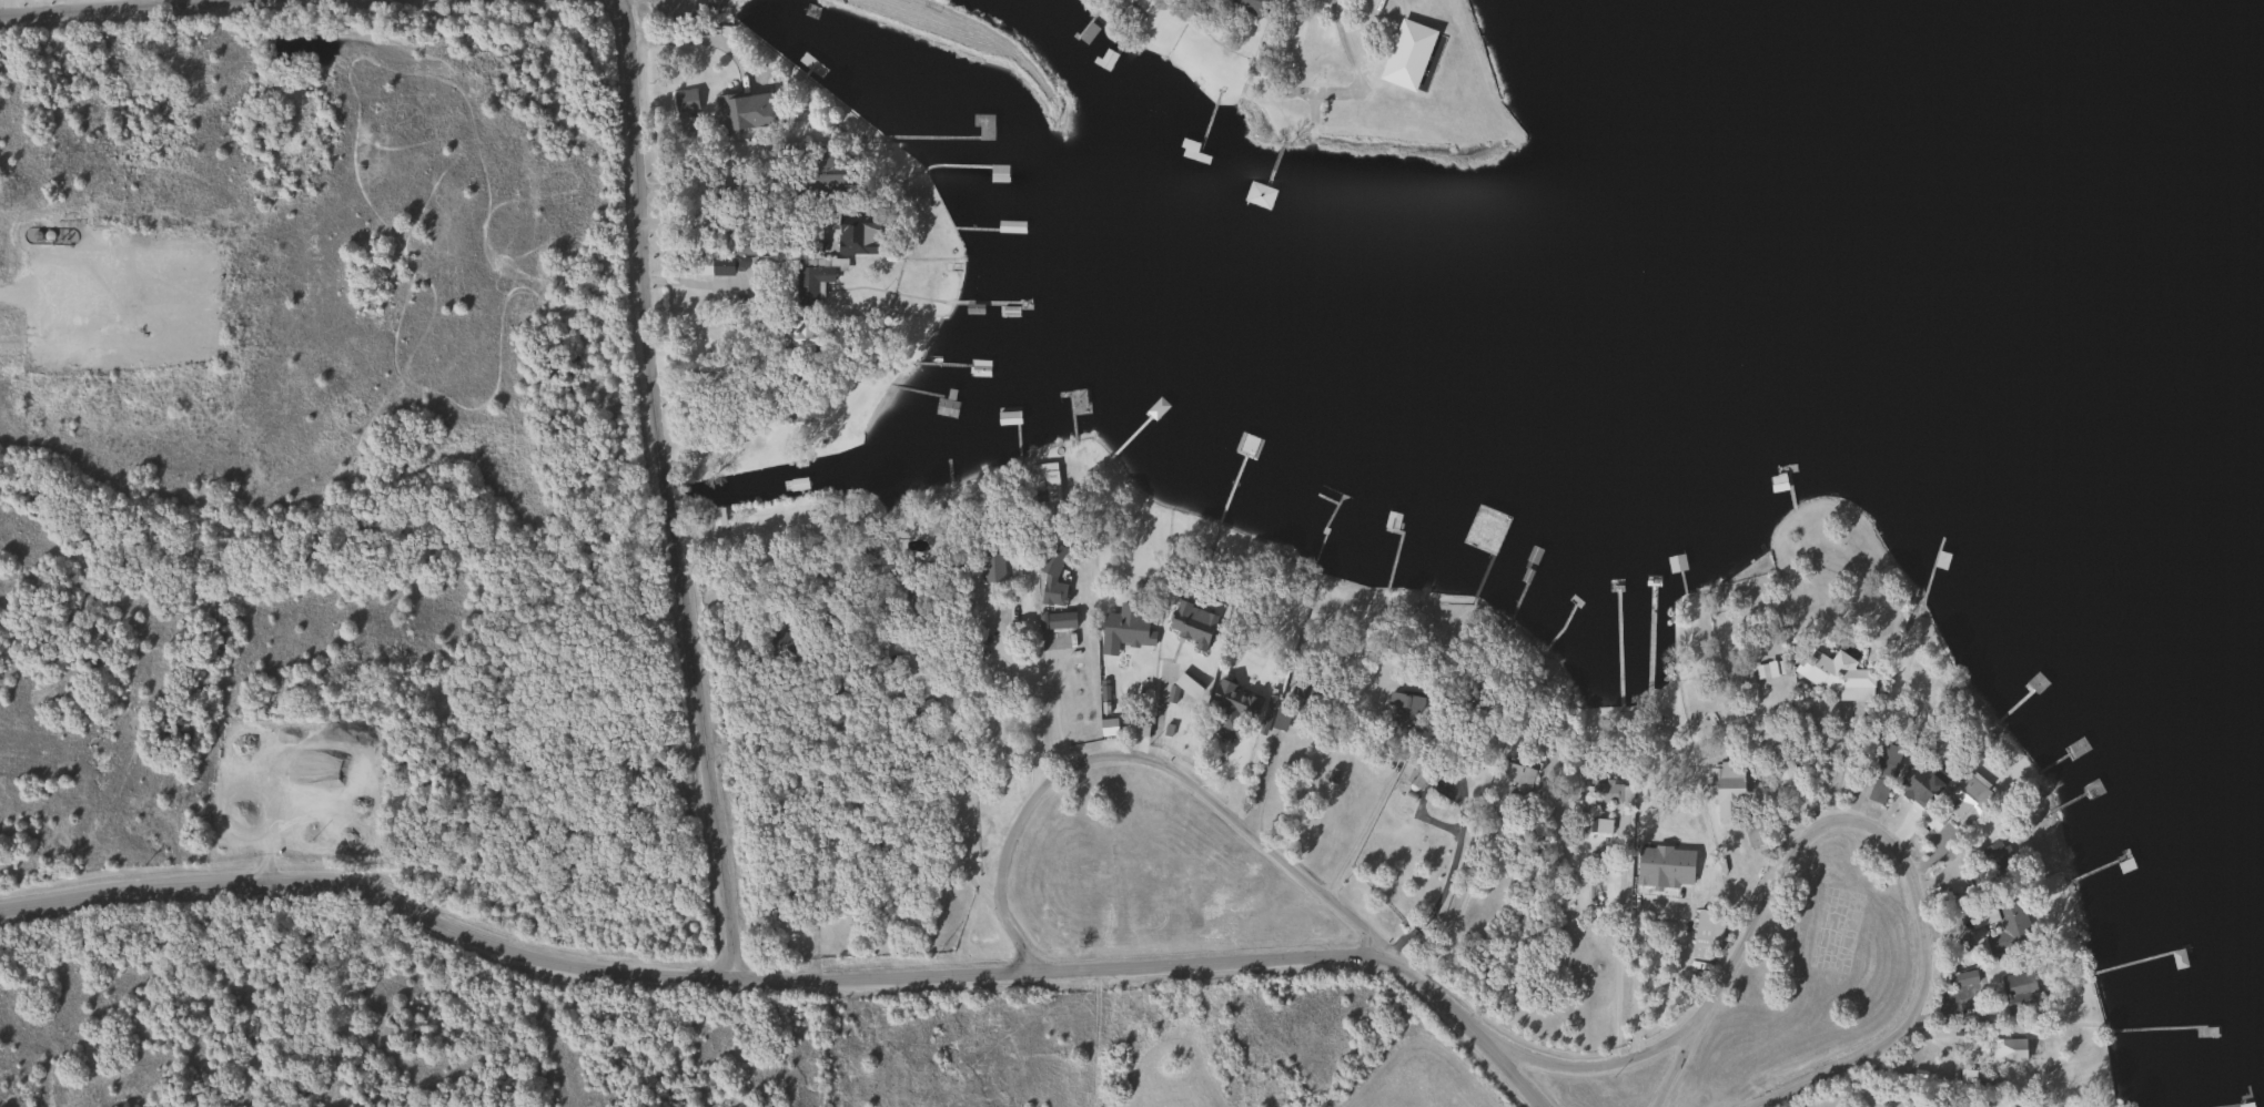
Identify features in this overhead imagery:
road: (103, 7)
building: (1250, 7)
road: (696, 37)
building: (685, 101)
building: (745, 113)
building: (983, 128)
road: (718, 164)
building: (998, 173)
building: (823, 175)
building: (855, 242)
building: (720, 265)
road: (695, 282)
building: (809, 283)
road: (752, 327)
building: (979, 368)
building: (946, 405)
building: (1043, 481)
road: (669, 486)
building: (716, 515)
building: (992, 567)
building: (1050, 579)
building: (1205, 609)
building: (1052, 621)
building: (1126, 631)
building: (1837, 674)
road: (1050, 701)
road: (1164, 701)
road: (949, 704)
building: (1404, 705)
building: (1233, 709)
building: (1281, 717)
road: (1145, 758)
building: (1781, 761)
building: (1882, 773)
building: (1515, 780)
building: (1921, 782)
building: (1730, 784)
building: (1608, 791)
building: (1969, 798)
road: (1880, 827)
building: (1753, 832)
road: (1355, 833)
building: (1998, 857)
building: (1665, 866)
road: (1448, 873)
road: (1458, 906)
building: (2011, 924)
road: (1617, 941)
road: (792, 975)
road: (1670, 988)
building: (2020, 992)
building: (2010, 1049)
road: (1605, 1064)
building: (1974, 1078)

